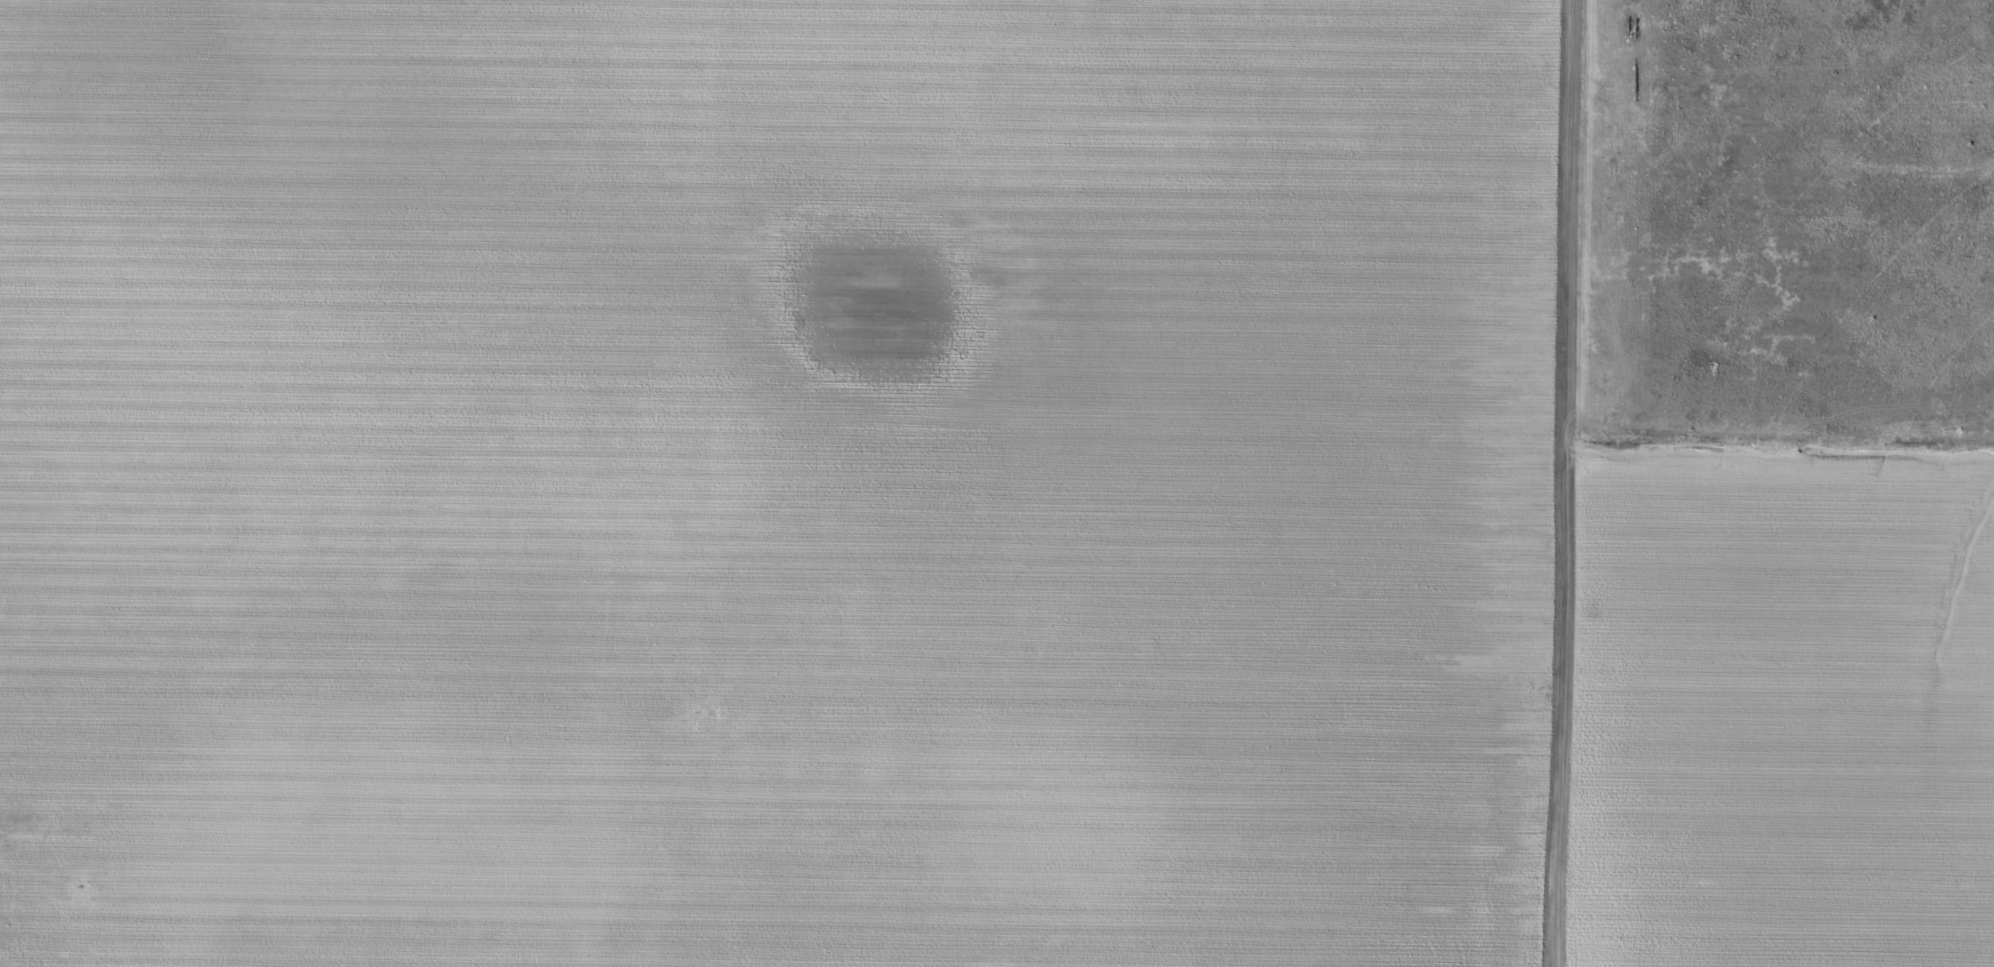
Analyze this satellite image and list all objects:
road: (1576, 483)

